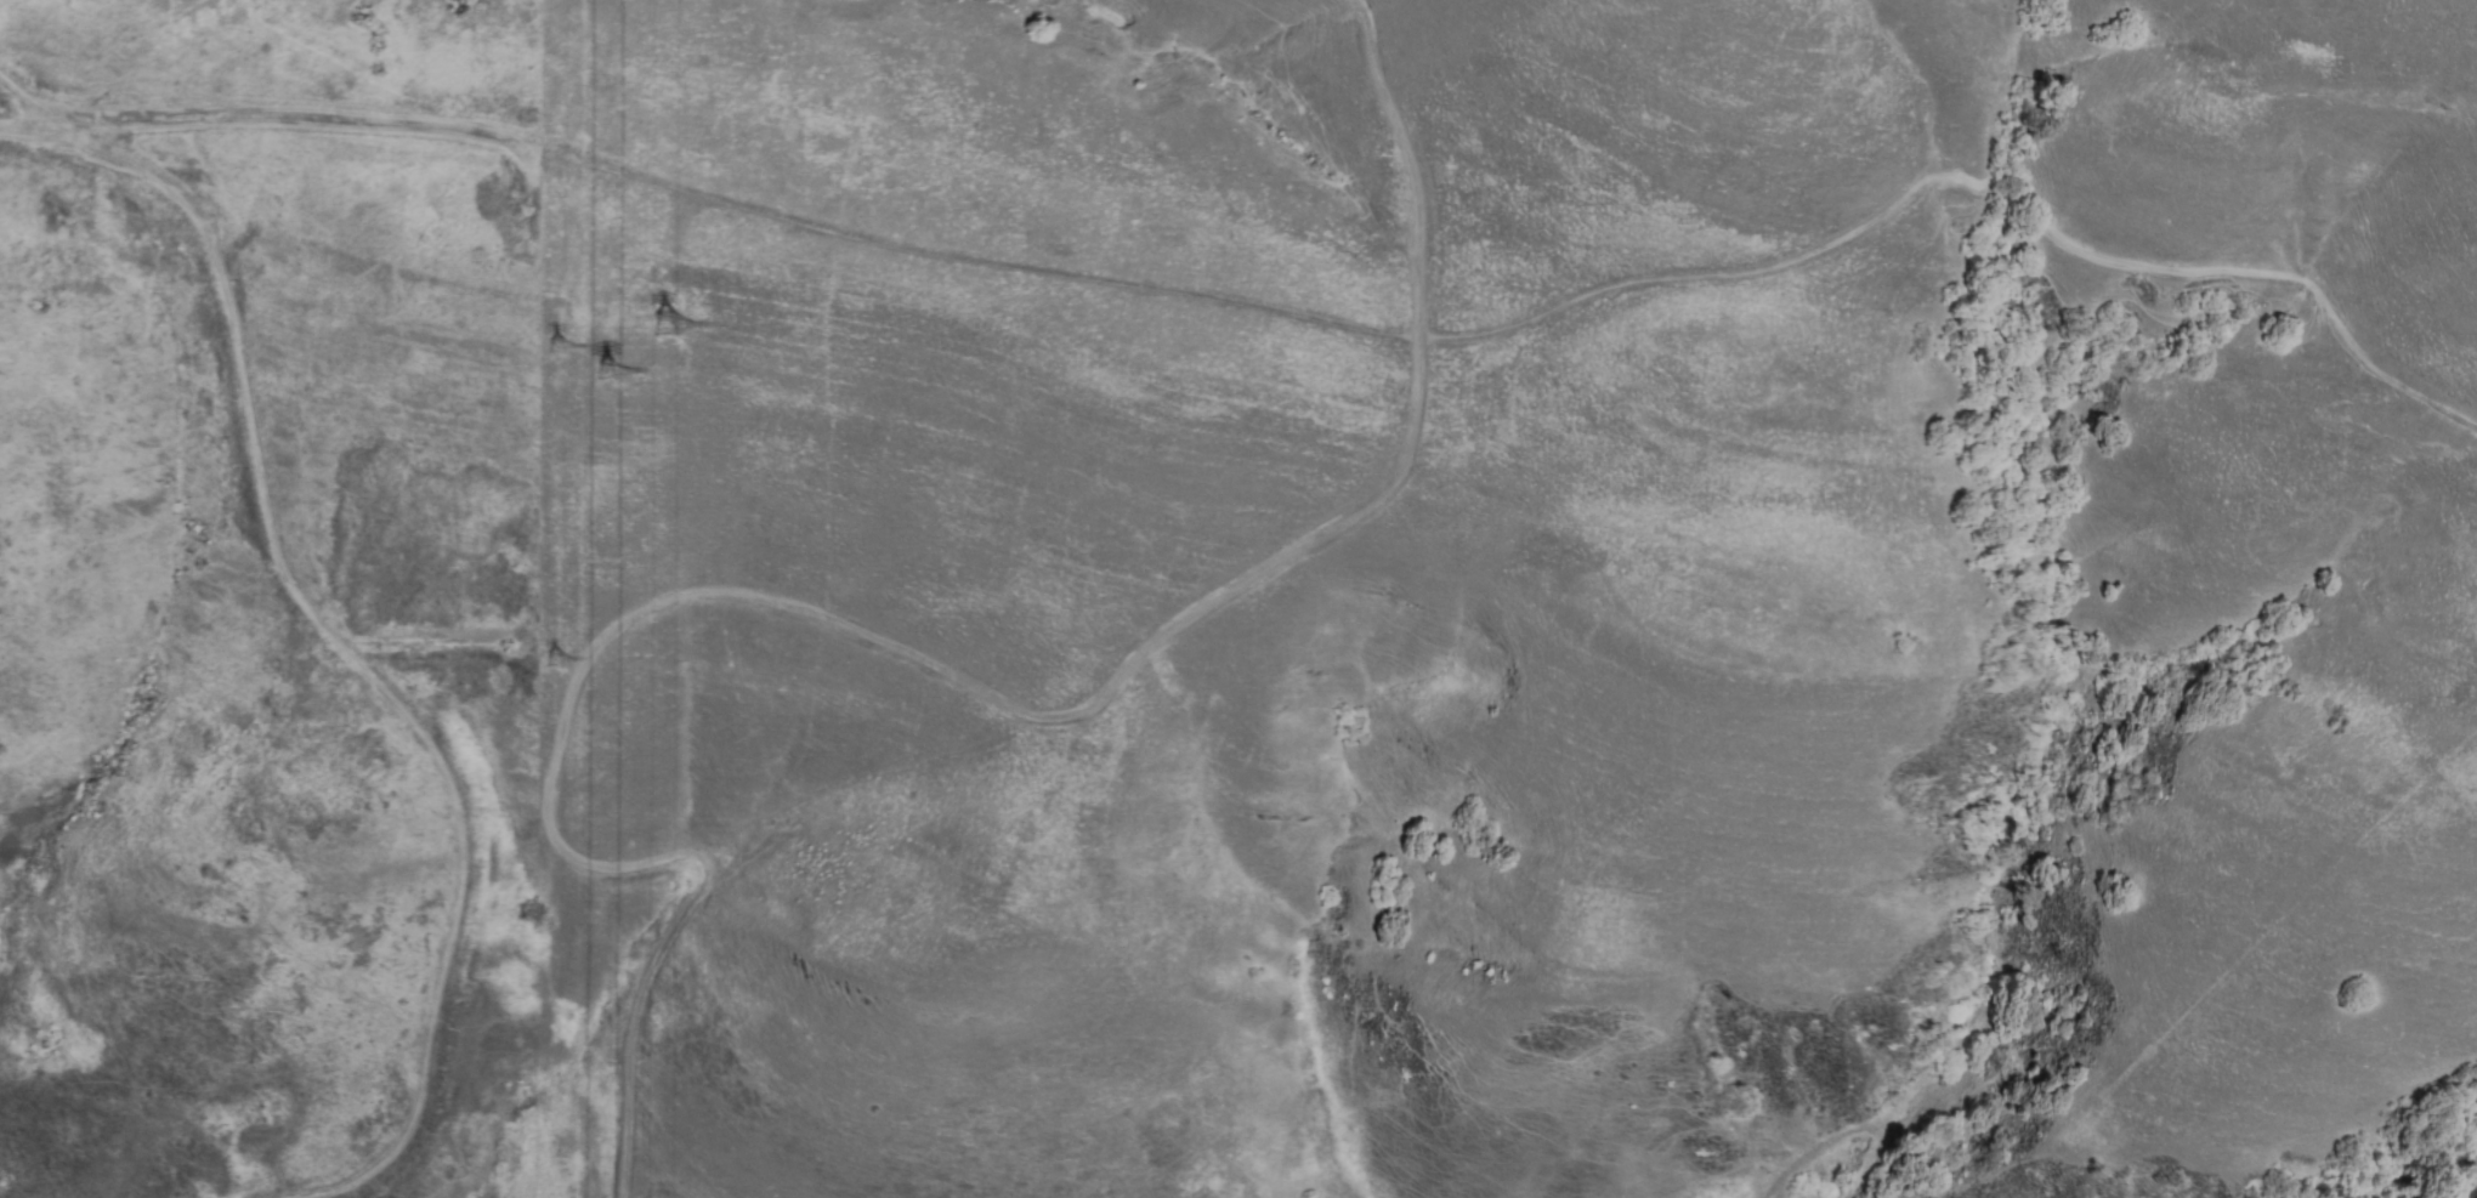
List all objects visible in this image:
road: (34, 101)
road: (2, 126)
road: (1824, 251)
power tower: (667, 325)
power tower: (560, 348)
power tower: (610, 360)
road: (1372, 501)
power tower: (559, 653)
road: (356, 657)

